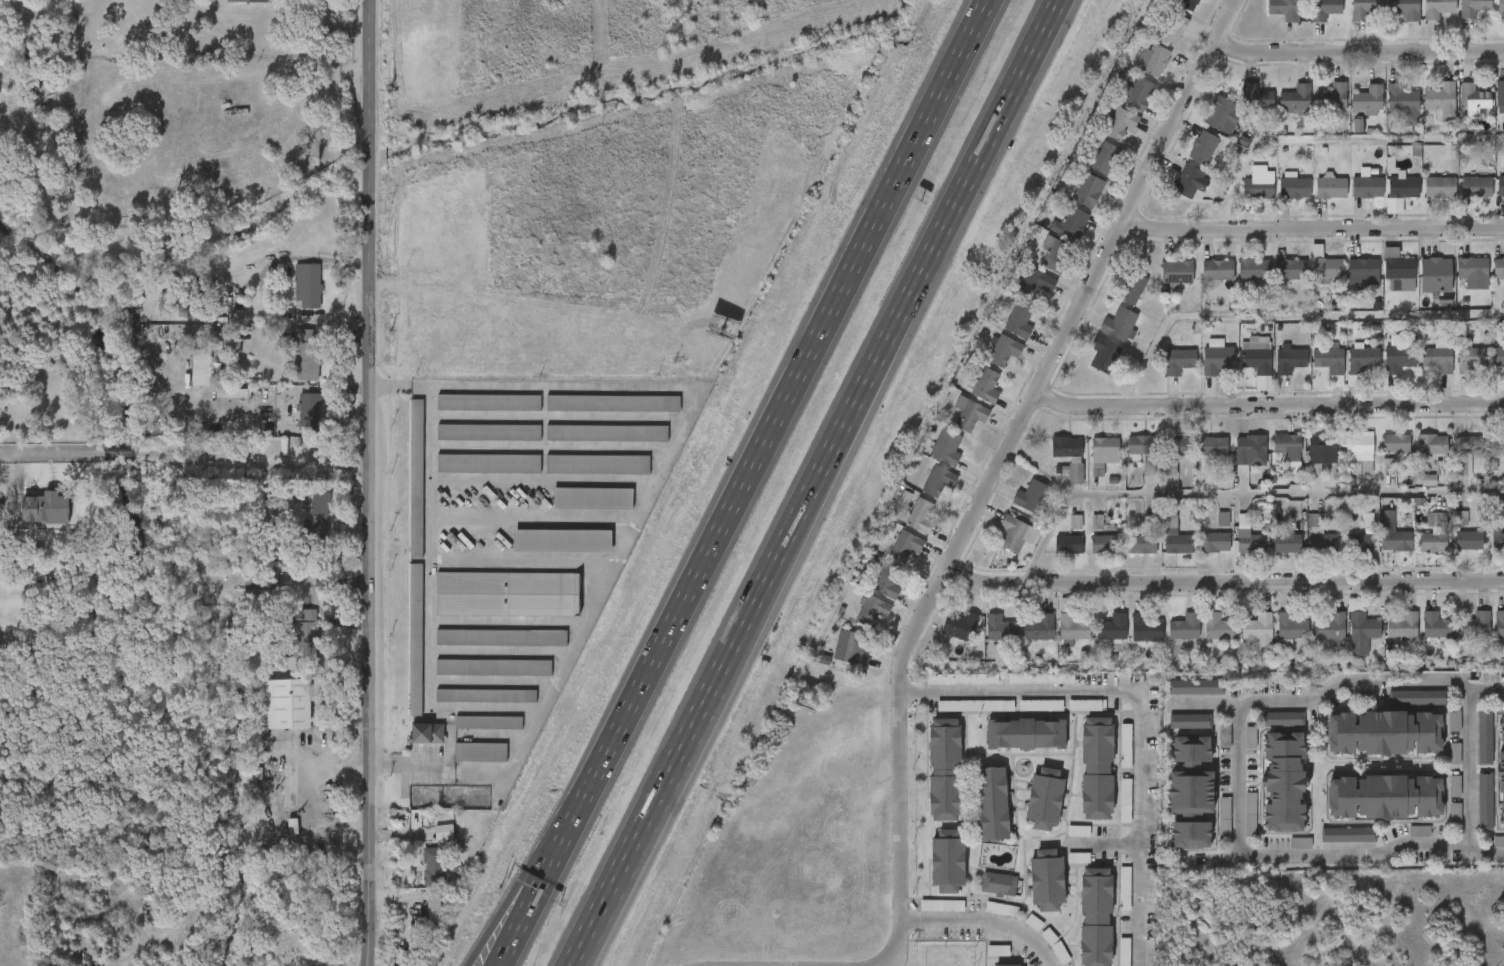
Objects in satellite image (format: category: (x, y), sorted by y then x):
building: (1187, 3)
building: (233, 7)
building: (1472, 7)
building: (1364, 8)
building: (1437, 8)
building: (1174, 9)
building: (1283, 9)
building: (1324, 9)
building: (1404, 9)
building: (1500, 10)
building: (1270, 16)
building: (1424, 16)
building: (1460, 16)
building: (1389, 17)
building: (1310, 19)
building: (1173, 28)
building: (1158, 41)
road: (1358, 52)
building: (1156, 60)
building: (1139, 71)
building: (1137, 93)
building: (1500, 93)
building: (1332, 96)
building: (1257, 97)
building: (1295, 97)
building: (1474, 97)
building: (1367, 99)
building: (1441, 99)
building: (1402, 103)
building: (1123, 106)
building: (1491, 106)
building: (1318, 108)
building: (1242, 109)
building: (1281, 111)
building: (1459, 111)
building: (1354, 112)
building: (1426, 113)
building: (1220, 114)
building: (1389, 114)
building: (1119, 122)
building: (1208, 127)
building: (1105, 134)
building: (1344, 136)
building: (1202, 147)
building: (1105, 157)
building: (1188, 159)
building: (1090, 169)
building: (1189, 181)
building: (1258, 184)
building: (1500, 186)
building: (1294, 187)
building: (1331, 187)
building: (1367, 187)
building: (1403, 187)
building: (1438, 187)
building: (1476, 187)
building: (1088, 190)
building: (1176, 193)
building: (1244, 195)
building: (1462, 197)
building: (1352, 198)
building: (1280, 199)
building: (1316, 199)
building: (1425, 199)
building: (1074, 202)
building: (1386, 203)
building: (1071, 224)
road: (1313, 228)
building: (1056, 236)
building: (1055, 255)
building: (1039, 264)
building: (1498, 268)
building: (1253, 269)
building: (1290, 269)
building: (1362, 269)
building: (1471, 269)
building: (1217, 271)
building: (1399, 271)
building: (1176, 272)
building: (1435, 276)
building: (1491, 279)
building: (1312, 280)
building: (1348, 280)
building: (1203, 281)
building: (1239, 281)
building: (1276, 281)
building: (1384, 282)
building: (1034, 283)
building: (1162, 283)
building: (1458, 284)
building: (1421, 287)
building: (1131, 288)
building: (1020, 294)
building: (293, 297)
building: (1118, 300)
building: (159, 317)
building: (1018, 320)
building: (1119, 324)
building: (1005, 332)
building: (1106, 336)
building: (231, 341)
road: (882, 344)
building: (1003, 350)
building: (305, 352)
building: (217, 354)
building: (1103, 355)
building: (1255, 356)
building: (1499, 357)
building: (1216, 359)
building: (1289, 359)
building: (1400, 359)
building: (1178, 360)
building: (1472, 360)
building: (1328, 361)
building: (1364, 361)
building: (1437, 361)
building: (989, 362)
building: (289, 364)
building: (202, 365)
building: (1089, 366)
building: (1202, 369)
building: (1423, 369)
building: (1275, 370)
building: (1348, 370)
building: (1384, 370)
building: (1458, 370)
building: (1243, 371)
building: (1314, 371)
building: (1164, 372)
building: (187, 378)
building: (986, 386)
building: (972, 397)
building: (488, 401)
building: (613, 402)
building: (219, 405)
road: (1268, 405)
building: (970, 413)
building: (474, 414)
building: (599, 415)
building: (294, 424)
building: (955, 425)
road: (769, 427)
building: (488, 431)
building: (606, 432)
building: (1396, 442)
building: (474, 443)
building: (592, 444)
building: (1432, 444)
building: (1143, 445)
building: (1321, 445)
building: (1469, 445)
building: (1497, 445)
building: (948, 446)
building: (1177, 446)
building: (1105, 447)
building: (1288, 448)
building: (1249, 449)
building: (1358, 449)
building: (1212, 452)
building: (1381, 454)
building: (1069, 455)
building: (1417, 455)
building: (1491, 456)
building: (1199, 457)
road: (254, 458)
building: (1123, 458)
building: (1164, 458)
building: (932, 459)
road: (122, 462)
building: (488, 462)
building: (1274, 462)
building: (597, 463)
building: (1306, 463)
road: (64, 464)
building: (1089, 464)
building: (1235, 464)
building: (1346, 464)
road: (11, 465)
building: (1450, 467)
building: (1170, 468)
road: (998, 470)
building: (1061, 472)
building: (474, 475)
building: (583, 475)
building: (416, 477)
building: (1134, 479)
building: (1497, 479)
building: (938, 480)
road: (542, 482)
road: (369, 483)
building: (402, 489)
building: (923, 492)
road: (1240, 492)
road: (648, 497)
building: (1032, 497)
building: (592, 498)
building: (54, 508)
building: (1016, 508)
building: (578, 510)
building: (921, 516)
road: (533, 519)
building: (1461, 519)
building: (32, 520)
building: (304, 526)
building: (906, 528)
building: (1208, 530)
building: (1447, 530)
building: (1352, 531)
building: (1013, 533)
building: (1434, 533)
building: (1248, 537)
building: (1176, 538)
building: (1498, 538)
building: (562, 540)
building: (1468, 540)
building: (1395, 541)
building: (1214, 542)
building: (1363, 542)
building: (1287, 543)
building: (1323, 543)
building: (1104, 544)
building: (1142, 544)
building: (906, 545)
building: (1001, 545)
building: (1068, 545)
building: (1419, 545)
building: (1305, 546)
building: (1378, 546)
building: (1233, 548)
building: (1161, 549)
building: (548, 552)
building: (1453, 552)
building: (1199, 554)
building: (1345, 554)
building: (1054, 555)
building: (1127, 555)
building: (1273, 555)
building: (1088, 556)
building: (891, 557)
road: (522, 562)
building: (262, 579)
building: (888, 579)
road: (1226, 580)
road: (311, 591)
building: (873, 592)
building: (248, 593)
building: (508, 593)
road: (429, 605)
building: (872, 611)
building: (858, 622)
road: (507, 623)
building: (959, 626)
building: (1219, 626)
building: (1403, 626)
building: (1436, 626)
building: (1500, 626)
building: (1185, 627)
building: (1257, 627)
building: (1291, 627)
building: (1476, 627)
building: (1040, 628)
building: (1073, 628)
building: (1112, 628)
building: (1328, 628)
building: (1145, 629)
building: (999, 630)
building: (1362, 633)
building: (1461, 636)
building: (415, 637)
building: (501, 637)
building: (945, 637)
building: (1388, 637)
building: (1421, 637)
building: (1133, 638)
building: (1170, 638)
building: (1204, 638)
building: (986, 639)
building: (1025, 639)
building: (1098, 639)
building: (1314, 639)
building: (1346, 639)
building: (1491, 639)
building: (290, 640)
building: (1244, 640)
building: (1275, 640)
building: (1058, 641)
building: (487, 649)
building: (856, 649)
building: (401, 650)
road: (499, 654)
building: (838, 658)
building: (493, 666)
building: (479, 679)
road: (492, 683)
building: (1196, 687)
building: (947, 690)
building: (1026, 690)
building: (485, 695)
building: (1181, 698)
building: (283, 703)
road: (1206, 704)
building: (472, 707)
building: (1402, 709)
road: (1137, 715)
building: (1070, 716)
building: (960, 717)
building: (1026, 717)
building: (489, 721)
building: (1190, 721)
building: (1267, 730)
building: (427, 732)
building: (1175, 732)
building: (474, 733)
building: (1025, 734)
building: (1385, 734)
building: (413, 744)
building: (1210, 748)
building: (1235, 748)
building: (1470, 749)
building: (481, 751)
building: (466, 763)
road: (326, 765)
building: (1440, 765)
building: (1097, 769)
building: (944, 771)
road: (1470, 771)
building: (1501, 772)
road: (1239, 777)
building: (1083, 779)
building: (930, 781)
building: (1284, 783)
building: (1191, 791)
building: (1044, 798)
building: (1387, 798)
building: (991, 805)
building: (1110, 811)
building: (978, 814)
building: (1469, 815)
road: (638, 825)
building: (1235, 825)
building: (1210, 830)
building: (1064, 842)
building: (1405, 842)
road: (1105, 844)
building: (1333, 846)
building: (1489, 852)
building: (1285, 854)
building: (947, 861)
building: (433, 869)
building: (1064, 869)
building: (421, 879)
building: (1045, 880)
building: (998, 885)
building: (984, 895)
road: (395, 897)
building: (433, 902)
road: (505, 907)
road: (514, 907)
building: (419, 914)
building: (927, 916)
building: (1095, 917)
building: (987, 920)
road: (987, 924)
building: (983, 961)
building: (1007, 964)

